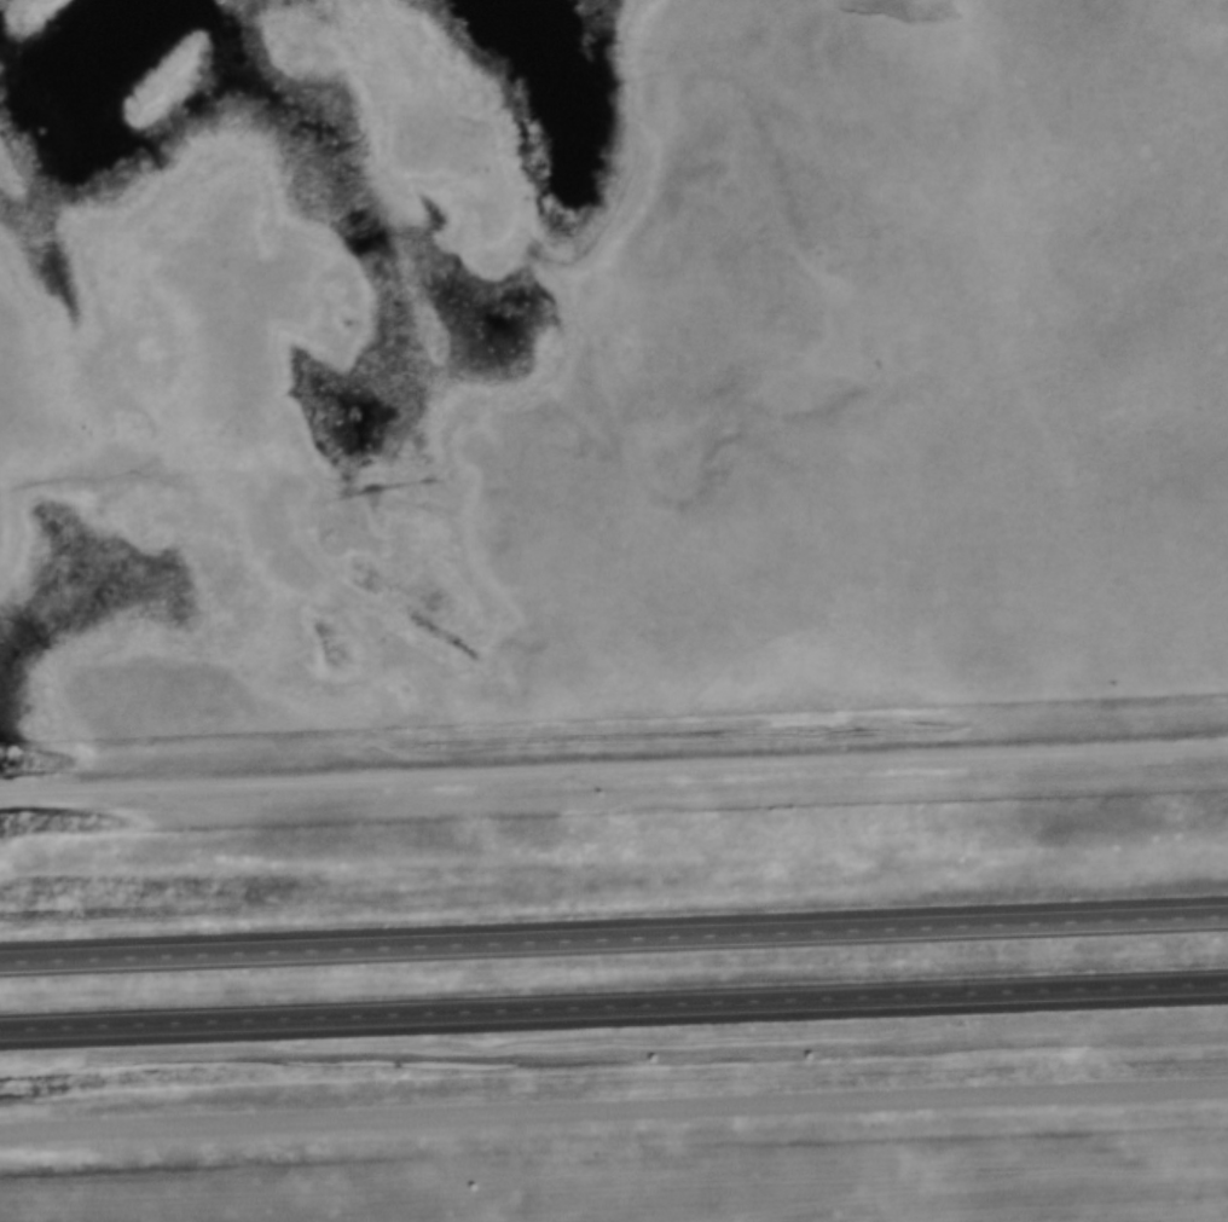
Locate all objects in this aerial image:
road: (614, 772)
road: (613, 940)
road: (613, 1007)
road: (613, 1113)

